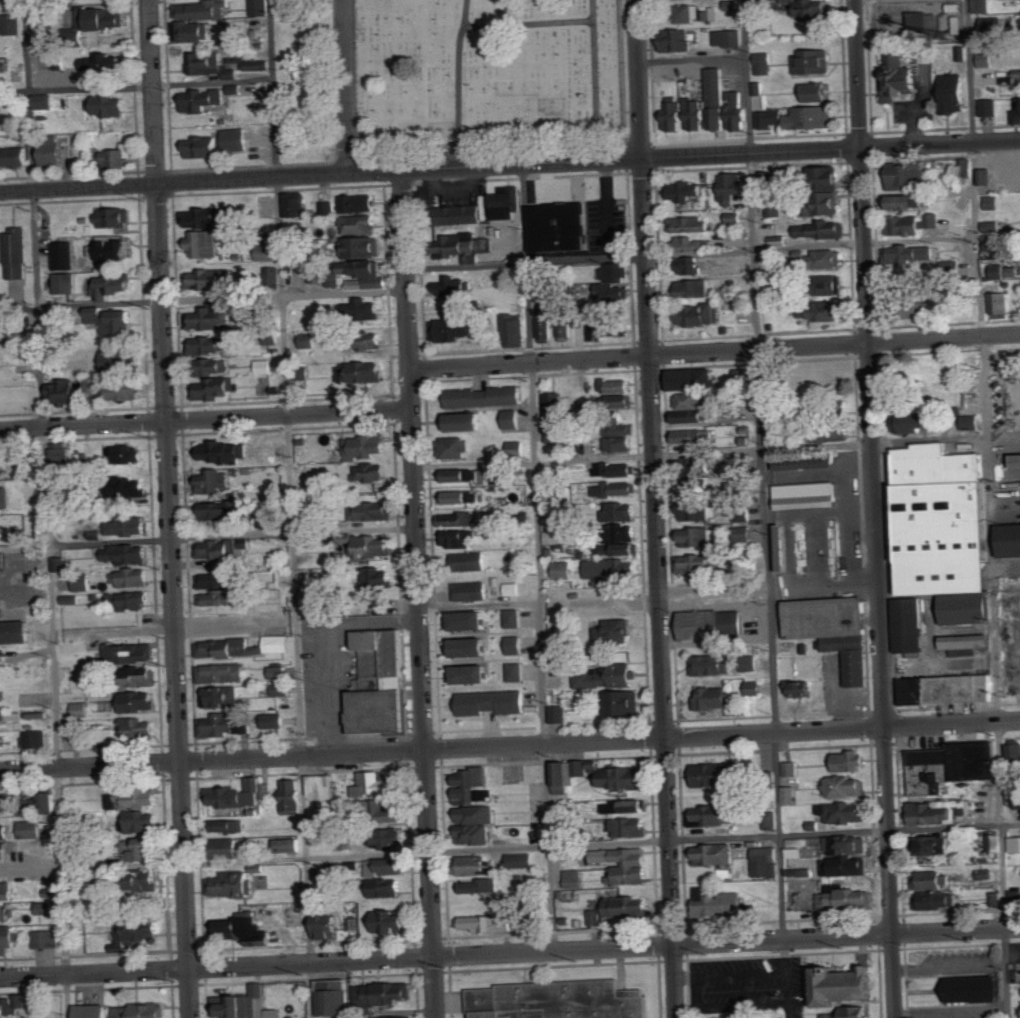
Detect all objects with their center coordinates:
building: (1014, 0)
building: (983, 6)
building: (261, 8)
building: (816, 9)
building: (203, 10)
building: (689, 13)
building: (344, 14)
building: (710, 14)
building: (109, 18)
building: (956, 18)
road: (527, 23)
building: (922, 23)
building: (991, 24)
building: (13, 25)
building: (193, 31)
building: (729, 38)
building: (679, 40)
road: (692, 59)
building: (985, 60)
building: (814, 62)
building: (108, 63)
building: (765, 63)
building: (259, 64)
building: (211, 66)
park: (487, 71)
building: (904, 77)
building: (1016, 77)
road: (595, 80)
road: (214, 82)
road: (458, 82)
road: (345, 86)
road: (76, 87)
building: (237, 89)
building: (816, 92)
building: (956, 92)
building: (204, 100)
building: (45, 101)
building: (110, 106)
building: (718, 106)
building: (990, 107)
building: (1017, 113)
building: (675, 117)
building: (816, 117)
building: (771, 119)
building: (238, 139)
road: (941, 144)
building: (206, 147)
building: (54, 154)
building: (16, 157)
building: (116, 159)
building: (967, 165)
road: (430, 166)
building: (906, 175)
building: (986, 177)
building: (767, 178)
building: (733, 186)
building: (687, 191)
building: (827, 192)
building: (914, 201)
building: (506, 203)
building: (360, 204)
building: (297, 205)
building: (328, 208)
building: (776, 209)
building: (462, 215)
building: (116, 218)
building: (210, 218)
building: (690, 224)
building: (912, 224)
building: (361, 225)
building: (993, 226)
building: (560, 227)
building: (822, 230)
building: (692, 244)
building: (995, 244)
building: (205, 245)
building: (458, 245)
building: (485, 245)
building: (366, 247)
building: (112, 250)
road: (713, 251)
building: (270, 253)
building: (18, 254)
building: (293, 255)
building: (65, 256)
building: (910, 256)
building: (827, 259)
building: (689, 266)
building: (952, 267)
building: (366, 268)
building: (616, 272)
building: (1005, 272)
building: (211, 279)
building: (65, 283)
building: (367, 283)
building: (833, 285)
building: (112, 286)
building: (455, 287)
building: (695, 288)
building: (613, 293)
road: (203, 298)
building: (1000, 303)
building: (912, 307)
building: (364, 309)
building: (829, 311)
building: (699, 315)
building: (210, 317)
building: (114, 321)
building: (548, 321)
building: (567, 322)
building: (606, 329)
building: (8, 330)
building: (453, 330)
building: (518, 331)
building: (308, 341)
building: (365, 341)
building: (211, 345)
road: (715, 351)
building: (123, 361)
building: (217, 366)
building: (264, 367)
building: (365, 372)
building: (747, 375)
building: (694, 379)
building: (94, 384)
building: (618, 386)
building: (216, 389)
building: (127, 390)
building: (65, 392)
building: (487, 397)
building: (619, 401)
building: (555, 406)
building: (690, 409)
building: (514, 419)
road: (206, 420)
building: (469, 422)
building: (918, 422)
building: (971, 422)
building: (557, 434)
building: (828, 434)
building: (693, 436)
building: (776, 436)
building: (620, 437)
building: (366, 447)
building: (458, 448)
building: (517, 448)
road: (716, 450)
building: (225, 452)
building: (64, 453)
building: (126, 454)
building: (1015, 459)
building: (790, 464)
building: (616, 470)
building: (374, 472)
building: (457, 476)
building: (216, 482)
building: (132, 488)
building: (695, 488)
building: (621, 489)
building: (808, 496)
building: (460, 497)
building: (2, 499)
road: (46, 508)
road: (170, 508)
road: (290, 508)
road: (656, 508)
road: (875, 508)
road: (987, 508)
road: (761, 509)
building: (223, 510)
building: (697, 511)
building: (373, 512)
building: (458, 520)
building: (623, 521)
building: (938, 521)
building: (129, 526)
road: (208, 536)
building: (553, 537)
building: (699, 537)
building: (1008, 538)
building: (461, 539)
building: (371, 548)
building: (788, 548)
building: (218, 550)
building: (629, 550)
building: (129, 555)
building: (781, 556)
road: (540, 557)
building: (471, 562)
building: (696, 564)
building: (60, 565)
building: (614, 569)
building: (564, 570)
building: (379, 578)
building: (133, 579)
building: (218, 582)
building: (82, 583)
road: (824, 584)
building: (478, 591)
road: (715, 592)
road: (419, 593)
building: (221, 598)
building: (137, 601)
road: (540, 607)
building: (963, 607)
building: (516, 619)
road: (223, 620)
building: (472, 622)
building: (906, 624)
building: (714, 625)
building: (617, 631)
building: (835, 631)
building: (16, 633)
building: (964, 641)
building: (279, 644)
building: (517, 645)
building: (230, 648)
building: (474, 648)
building: (130, 653)
building: (750, 663)
building: (712, 665)
building: (518, 672)
building: (281, 673)
building: (224, 674)
building: (475, 675)
building: (142, 677)
building: (609, 677)
building: (381, 684)
building: (1012, 684)
building: (944, 687)
building: (753, 688)
building: (801, 689)
building: (283, 690)
building: (224, 697)
building: (714, 698)
building: (140, 702)
building: (494, 703)
building: (620, 704)
building: (81, 710)
building: (560, 714)
building: (2, 717)
building: (276, 721)
building: (227, 726)
building: (73, 729)
building: (140, 730)
building: (108, 737)
building: (2, 740)
building: (37, 740)
road: (510, 745)
building: (1012, 751)
building: (850, 760)
building: (949, 765)
building: (791, 767)
building: (570, 774)
building: (715, 774)
building: (378, 783)
building: (473, 783)
building: (323, 786)
building: (846, 786)
building: (266, 791)
building: (237, 794)
building: (294, 796)
building: (139, 797)
building: (52, 800)
building: (5, 801)
building: (1016, 802)
building: (628, 805)
building: (935, 810)
building: (846, 812)
building: (395, 813)
building: (476, 813)
building: (716, 814)
building: (772, 820)
building: (144, 821)
building: (35, 825)
building: (226, 826)
building: (631, 826)
building: (1, 829)
building: (477, 833)
building: (391, 836)
building: (990, 842)
building: (1013, 843)
building: (291, 844)
building: (849, 844)
building: (926, 845)
building: (229, 846)
building: (142, 847)
road: (509, 847)
building: (796, 852)
building: (716, 853)
building: (4, 854)
building: (521, 860)
building: (767, 861)
building: (474, 864)
building: (625, 864)
building: (849, 864)
building: (387, 866)
building: (983, 868)
building: (574, 878)
building: (928, 878)
building: (148, 880)
building: (233, 884)
building: (482, 885)
building: (388, 886)
building: (7, 890)
building: (800, 890)
building: (1014, 896)
building: (845, 897)
building: (994, 898)
building: (932, 900)
building: (722, 904)
building: (46, 907)
building: (622, 908)
building: (3, 914)
building: (297, 916)
building: (393, 920)
building: (145, 921)
building: (488, 922)
building: (242, 930)
building: (135, 934)
building: (48, 938)
building: (8, 939)
road: (510, 954)
road: (742, 975)
road: (687, 977)
parking lot: (737, 985)
building: (842, 986)
building: (977, 988)
building: (385, 993)
building: (336, 996)
building: (558, 1001)
building: (243, 1003)
building: (11, 1005)
road: (728, 1006)
building: (143, 1010)
building: (93, 1011)
building: (275, 1013)
building: (850, 1013)
building: (399, 1017)
building: (869, 1017)

